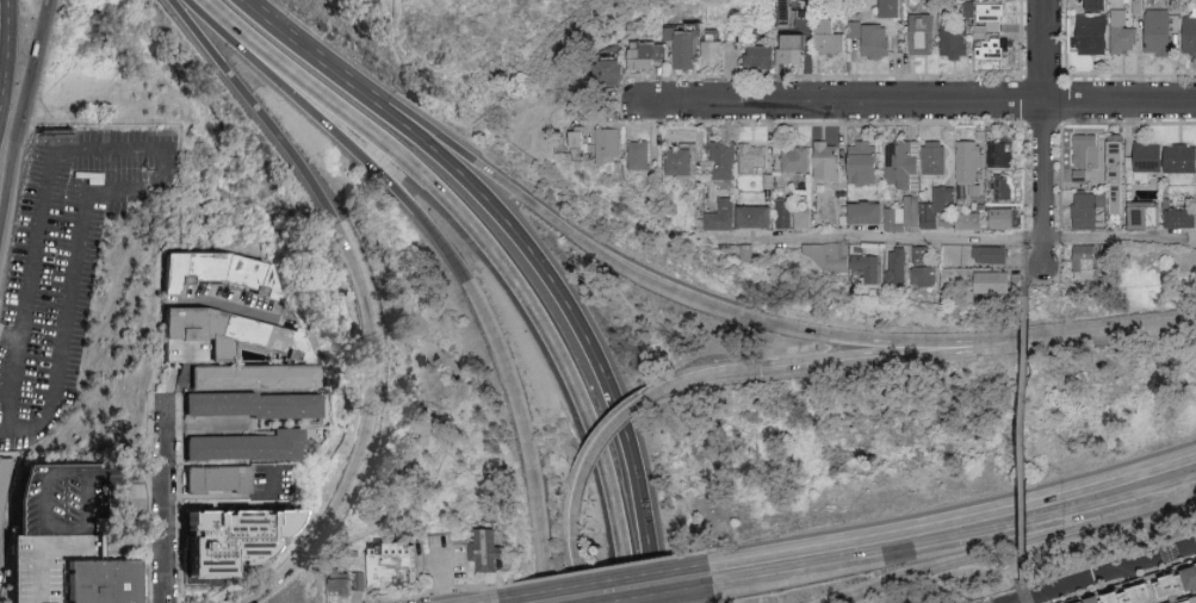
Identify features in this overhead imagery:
building: (1101, 4)
building: (896, 7)
building: (973, 8)
building: (793, 13)
building: (992, 18)
building: (1165, 30)
building: (1126, 31)
road: (2, 33)
building: (928, 33)
building: (1097, 33)
building: (832, 37)
building: (875, 37)
building: (958, 39)
road: (256, 42)
building: (996, 48)
building: (797, 49)
building: (657, 50)
building: (719, 52)
building: (766, 56)
road: (335, 69)
road: (33, 72)
building: (618, 72)
road: (922, 105)
road: (1048, 132)
building: (616, 143)
building: (583, 144)
building: (649, 154)
building: (1089, 155)
building: (758, 156)
building: (938, 156)
building: (1153, 156)
building: (1183, 157)
building: (800, 158)
building: (731, 160)
building: (831, 160)
building: (692, 161)
building: (869, 162)
building: (972, 162)
building: (907, 163)
building: (1004, 169)
building: (1121, 173)
road: (157, 181)
road: (8, 187)
building: (941, 205)
building: (1092, 209)
building: (789, 212)
building: (872, 212)
building: (729, 215)
building: (907, 215)
building: (763, 216)
building: (807, 216)
building: (1006, 217)
building: (1183, 217)
building: (973, 219)
road: (1192, 234)
road: (1118, 235)
road: (882, 236)
building: (991, 253)
building: (927, 254)
building: (834, 255)
building: (1090, 260)
parking lot: (64, 266)
building: (873, 266)
building: (903, 267)
building: (218, 268)
building: (930, 278)
building: (998, 282)
road: (1033, 287)
road: (368, 288)
road: (690, 300)
road: (532, 301)
road: (489, 315)
road: (1098, 335)
road: (588, 343)
building: (240, 344)
road: (880, 360)
road: (184, 375)
road: (707, 375)
road: (11, 387)
building: (250, 406)
road: (4, 409)
road: (609, 431)
building: (244, 447)
road: (1024, 447)
road: (125, 473)
road: (165, 477)
building: (217, 480)
road: (1176, 486)
building: (4, 490)
road: (1160, 496)
road: (236, 502)
road: (958, 518)
road: (43, 526)
building: (227, 536)
road: (571, 545)
road: (76, 546)
road: (1186, 546)
building: (487, 551)
road: (923, 553)
road: (981, 557)
building: (50, 562)
parking garage: (50, 562)
building: (391, 566)
road: (1091, 574)
road: (163, 576)
road: (441, 578)
building: (103, 582)
building: (1183, 582)
road: (608, 583)
building: (342, 589)
road: (1023, 589)
building: (1134, 595)
road: (690, 597)
road: (489, 601)
building: (1189, 601)
parking lot: (979, 602)

